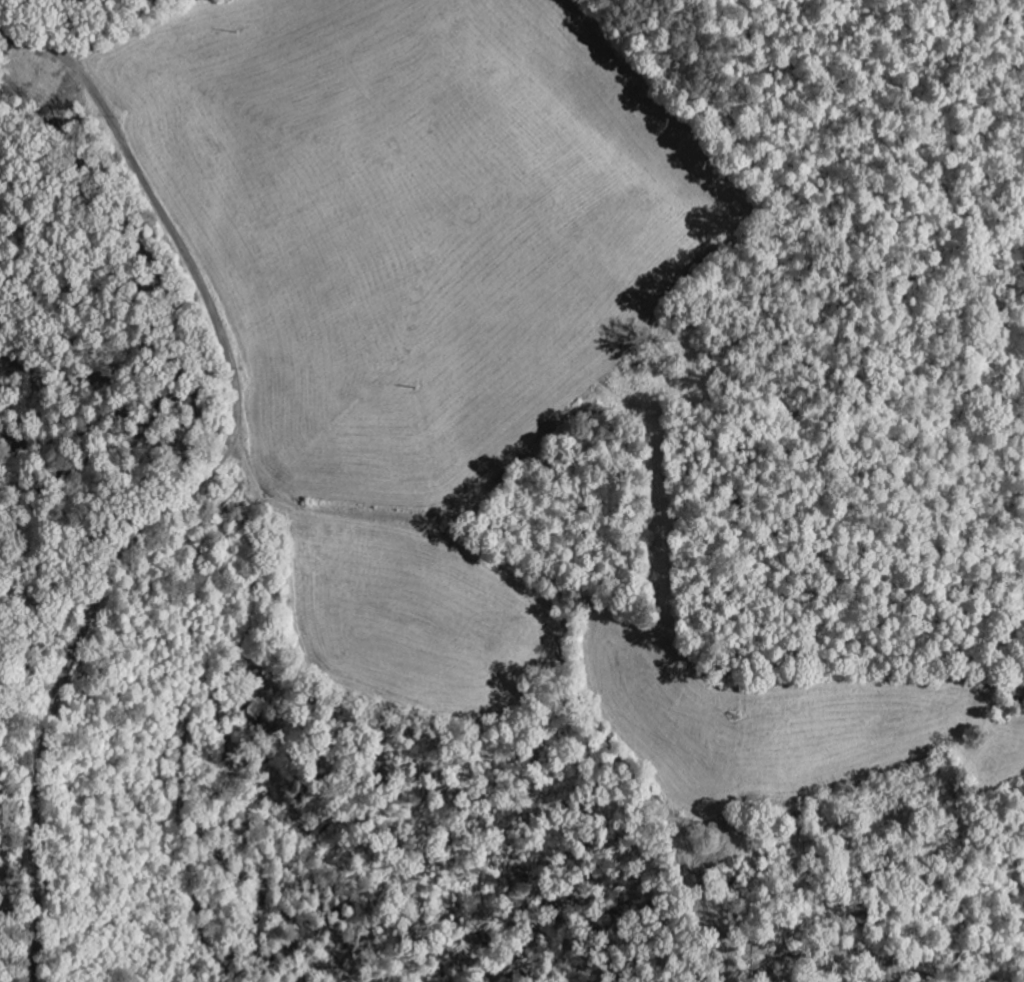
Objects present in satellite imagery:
road: (198, 481)
road: (586, 572)
road: (211, 757)

